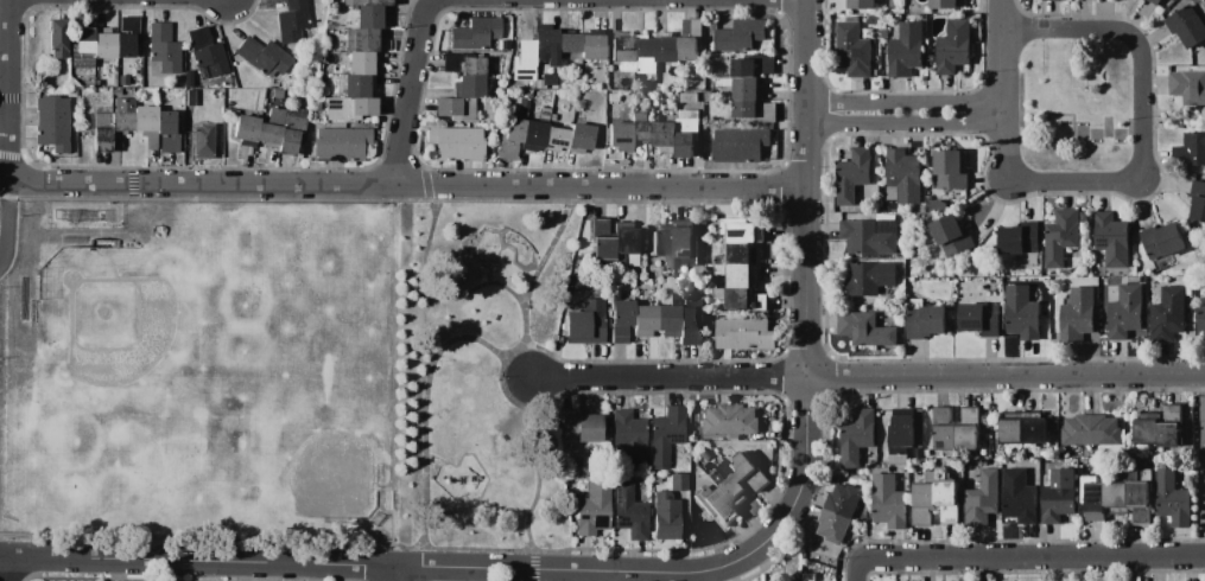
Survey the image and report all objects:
road: (623, 0)
building: (1052, 0)
building: (1155, 1)
building: (367, 2)
building: (893, 4)
building: (862, 5)
building: (943, 5)
building: (366, 18)
building: (292, 20)
building: (1187, 26)
building: (475, 33)
building: (884, 33)
building: (740, 34)
building: (58, 38)
building: (691, 39)
building: (361, 40)
building: (104, 43)
building: (569, 43)
building: (546, 46)
building: (591, 46)
building: (953, 46)
building: (667, 47)
building: (164, 49)
building: (622, 50)
building: (852, 50)
building: (906, 51)
building: (207, 52)
road: (1013, 56)
building: (262, 57)
building: (645, 57)
building: (524, 62)
building: (360, 64)
building: (751, 64)
building: (886, 66)
building: (467, 74)
building: (695, 75)
building: (548, 79)
building: (119, 85)
building: (356, 87)
building: (1188, 87)
building: (538, 88)
road: (7, 91)
building: (115, 92)
building: (278, 94)
road: (418, 94)
building: (651, 94)
building: (640, 96)
building: (746, 96)
building: (189, 97)
building: (611, 97)
building: (524, 104)
park: (1076, 104)
building: (316, 107)
road: (909, 107)
building: (349, 108)
building: (455, 109)
road: (1139, 109)
building: (768, 113)
building: (122, 114)
building: (551, 117)
road: (1172, 120)
building: (52, 122)
building: (146, 123)
road: (911, 124)
building: (100, 127)
building: (271, 127)
building: (641, 127)
building: (246, 129)
building: (291, 130)
building: (166, 133)
building: (687, 133)
building: (532, 136)
building: (620, 136)
building: (666, 136)
building: (579, 138)
building: (510, 139)
building: (554, 140)
building: (202, 141)
building: (342, 143)
building: (456, 143)
building: (741, 146)
road: (1011, 148)
building: (1190, 149)
building: (951, 171)
building: (854, 174)
building: (903, 177)
road: (407, 187)
road: (808, 198)
building: (1198, 200)
building: (937, 205)
building: (924, 210)
road: (7, 224)
building: (746, 234)
building: (870, 235)
building: (952, 235)
building: (1188, 235)
building: (1064, 236)
building: (1112, 238)
building: (1162, 241)
building: (613, 242)
building: (1021, 243)
building: (673, 245)
road: (546, 251)
building: (741, 254)
building: (719, 260)
building: (721, 269)
building: (743, 275)
building: (867, 277)
building: (1134, 279)
road: (436, 292)
building: (741, 299)
building: (1053, 300)
building: (1022, 312)
building: (1125, 312)
building: (950, 314)
building: (1078, 314)
building: (1168, 314)
building: (668, 317)
building: (925, 319)
building: (981, 319)
building: (645, 320)
road: (524, 321)
building: (619, 321)
building: (1201, 321)
building: (585, 323)
park: (122, 325)
building: (689, 326)
building: (865, 328)
building: (744, 333)
road: (502, 357)
park: (280, 371)
road: (668, 375)
road: (1007, 376)
building: (608, 403)
building: (641, 404)
road: (424, 409)
road: (805, 415)
building: (692, 416)
building: (731, 421)
building: (582, 424)
building: (1160, 427)
building: (1023, 428)
building: (957, 429)
building: (1091, 430)
building: (901, 432)
building: (665, 435)
building: (857, 436)
building: (628, 438)
park: (311, 451)
building: (927, 453)
building: (1097, 453)
building: (704, 455)
building: (896, 459)
building: (998, 461)
building: (1084, 461)
building: (705, 466)
road: (1198, 466)
building: (743, 468)
building: (699, 473)
building: (714, 475)
road: (535, 477)
building: (655, 479)
building: (678, 481)
road: (801, 489)
building: (731, 490)
building: (1019, 494)
building: (1059, 496)
building: (1117, 497)
building: (1093, 498)
building: (1139, 498)
building: (1172, 498)
building: (983, 499)
building: (937, 500)
building: (889, 502)
building: (715, 505)
building: (592, 509)
building: (629, 512)
building: (838, 512)
building: (693, 518)
building: (666, 519)
road: (1028, 557)
road: (392, 566)
road: (852, 569)
road: (11, 570)
road: (400, 574)

